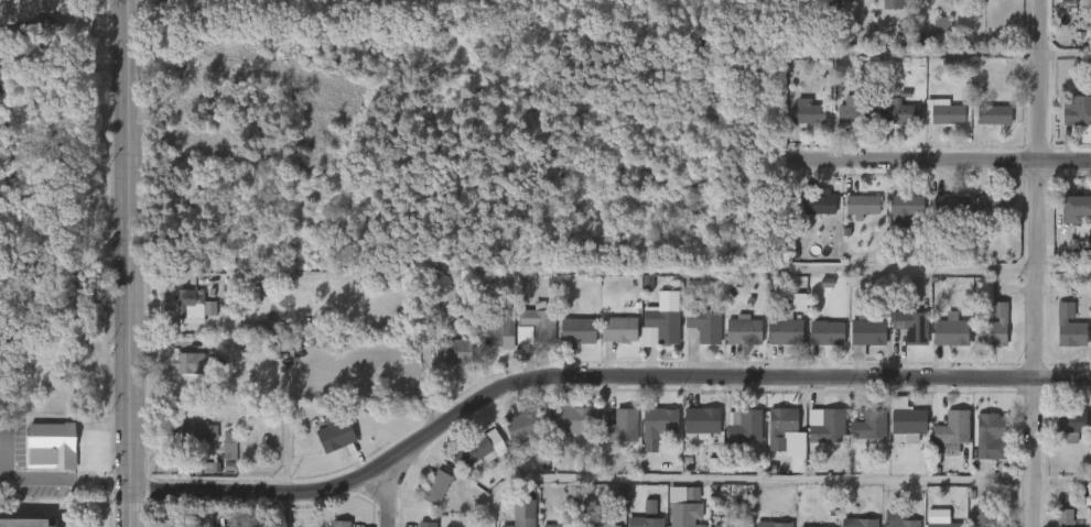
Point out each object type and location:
building: (1067, 2)
building: (920, 3)
building: (1058, 3)
building: (840, 6)
building: (881, 11)
building: (41, 31)
building: (929, 40)
road: (941, 53)
road: (1066, 53)
building: (943, 112)
building: (809, 113)
building: (854, 113)
building: (900, 113)
building: (993, 113)
building: (1077, 116)
building: (840, 124)
building: (796, 125)
building: (931, 125)
building: (886, 127)
building: (982, 128)
road: (947, 160)
building: (818, 202)
building: (861, 205)
building: (905, 205)
building: (950, 205)
building: (997, 205)
building: (1074, 208)
building: (808, 217)
building: (938, 218)
building: (982, 218)
building: (1067, 219)
building: (851, 220)
building: (893, 222)
building: (1069, 250)
road: (127, 263)
road: (1037, 263)
road: (1063, 263)
road: (919, 268)
building: (191, 303)
building: (182, 318)
building: (537, 325)
road: (202, 326)
building: (703, 326)
building: (1069, 326)
building: (910, 327)
building: (994, 327)
building: (659, 328)
building: (617, 330)
building: (743, 330)
building: (785, 330)
building: (576, 331)
building: (951, 331)
building: (497, 332)
building: (825, 332)
building: (865, 334)
building: (527, 336)
building: (693, 338)
building: (983, 339)
building: (1058, 340)
building: (903, 341)
building: (607, 342)
building: (566, 344)
building: (732, 344)
building: (774, 344)
building: (815, 345)
building: (939, 345)
building: (1085, 345)
building: (455, 352)
building: (194, 363)
building: (442, 364)
building: (182, 376)
road: (594, 376)
road: (53, 418)
building: (571, 418)
building: (781, 419)
building: (658, 420)
building: (700, 421)
building: (906, 421)
building: (1071, 425)
building: (522, 426)
building: (868, 426)
building: (742, 427)
building: (827, 427)
building: (951, 427)
building: (618, 429)
building: (196, 431)
building: (562, 432)
building: (337, 433)
building: (690, 435)
building: (987, 435)
building: (1060, 435)
building: (1085, 435)
building: (897, 437)
building: (512, 439)
building: (647, 439)
building: (732, 439)
building: (857, 439)
building: (817, 440)
building: (773, 443)
building: (185, 444)
building: (940, 444)
building: (48, 446)
building: (325, 447)
building: (976, 447)
building: (479, 451)
road: (3, 454)
building: (218, 460)
building: (468, 464)
road: (7, 468)
road: (775, 480)
road: (64, 481)
building: (439, 487)
road: (392, 493)
building: (425, 501)
building: (683, 506)
road: (287, 508)
building: (984, 512)
building: (521, 513)
building: (1065, 516)
building: (898, 518)
building: (24, 521)
building: (644, 521)
building: (339, 523)
building: (858, 523)
building: (774, 524)
building: (971, 524)
building: (1052, 524)
building: (429, 525)
building: (944, 525)
building: (551, 526)

